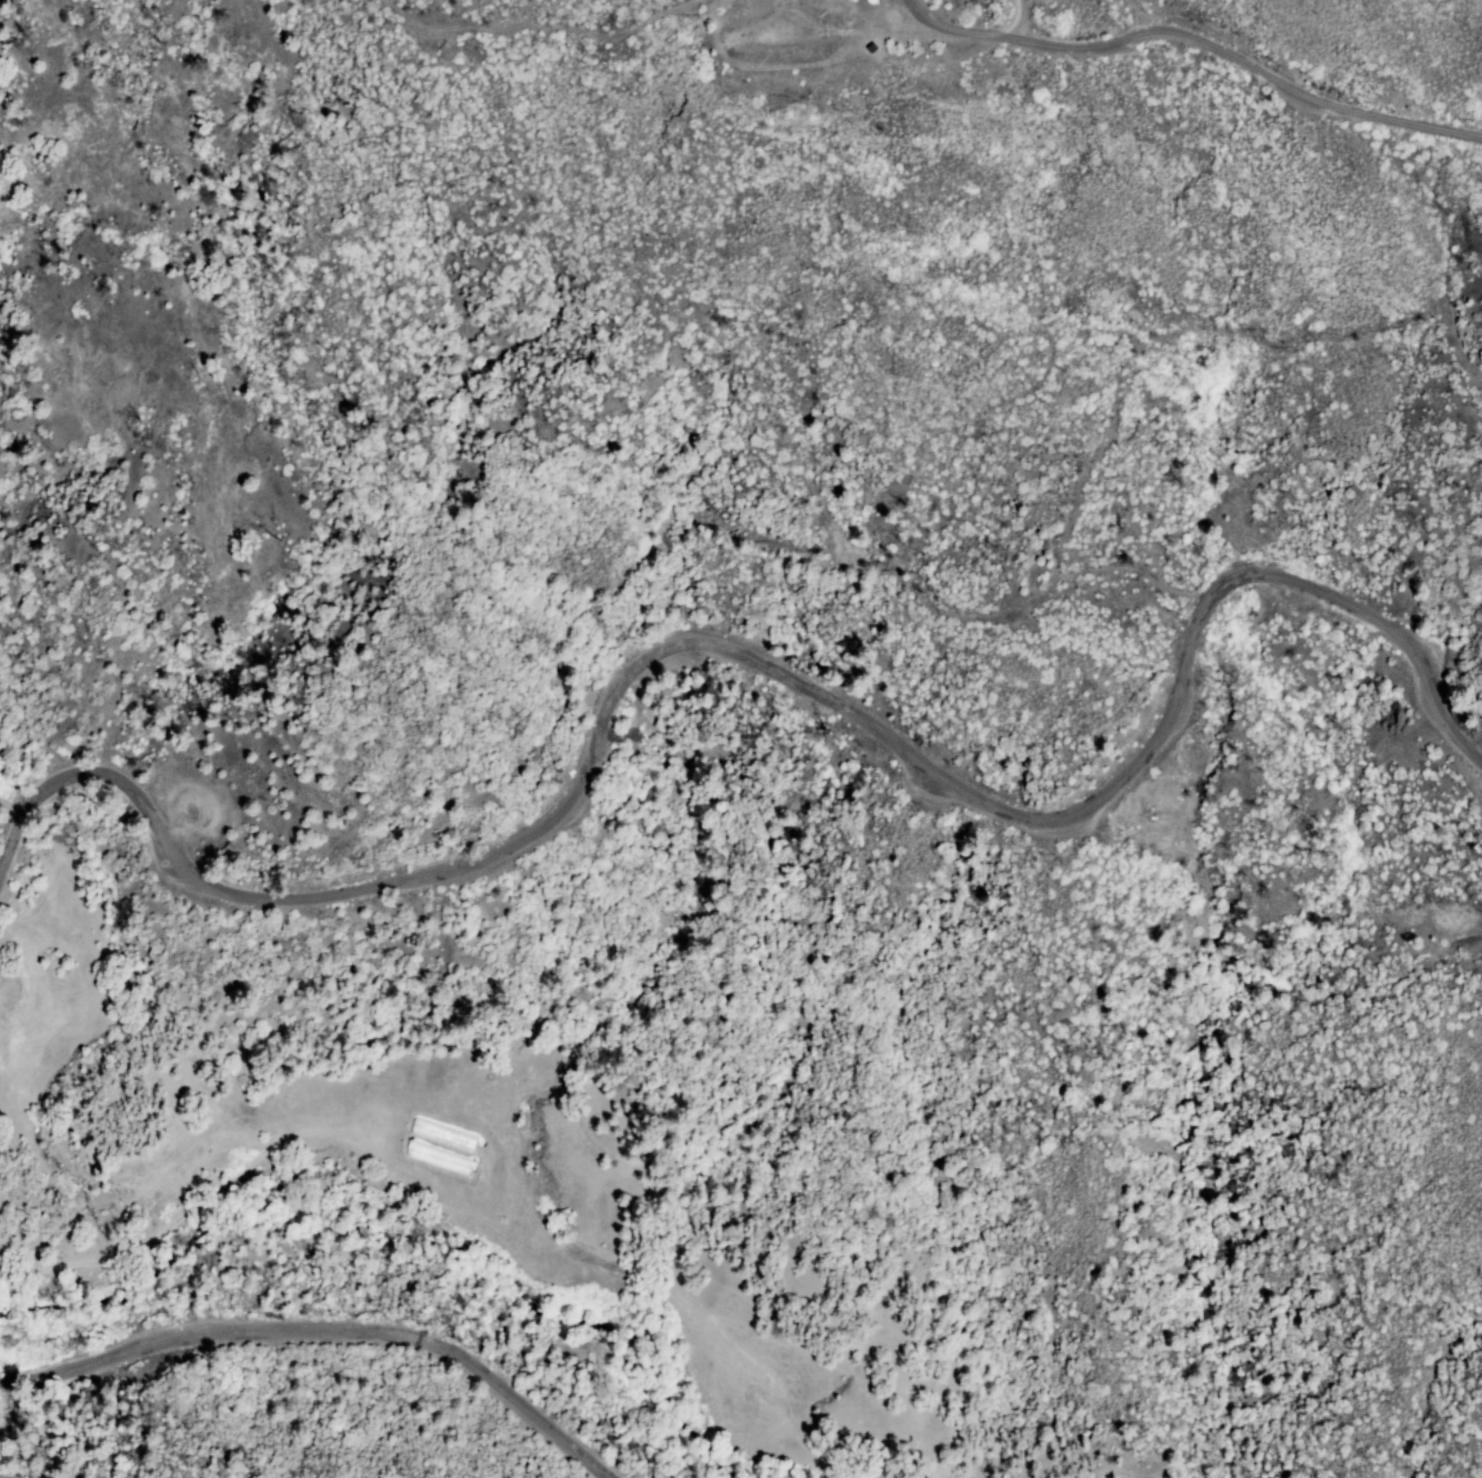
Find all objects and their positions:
road: (1024, 21)
road: (1187, 41)
building: (871, 47)
storage tank: (871, 47)
road: (758, 662)
road: (13, 806)
road: (324, 1333)

